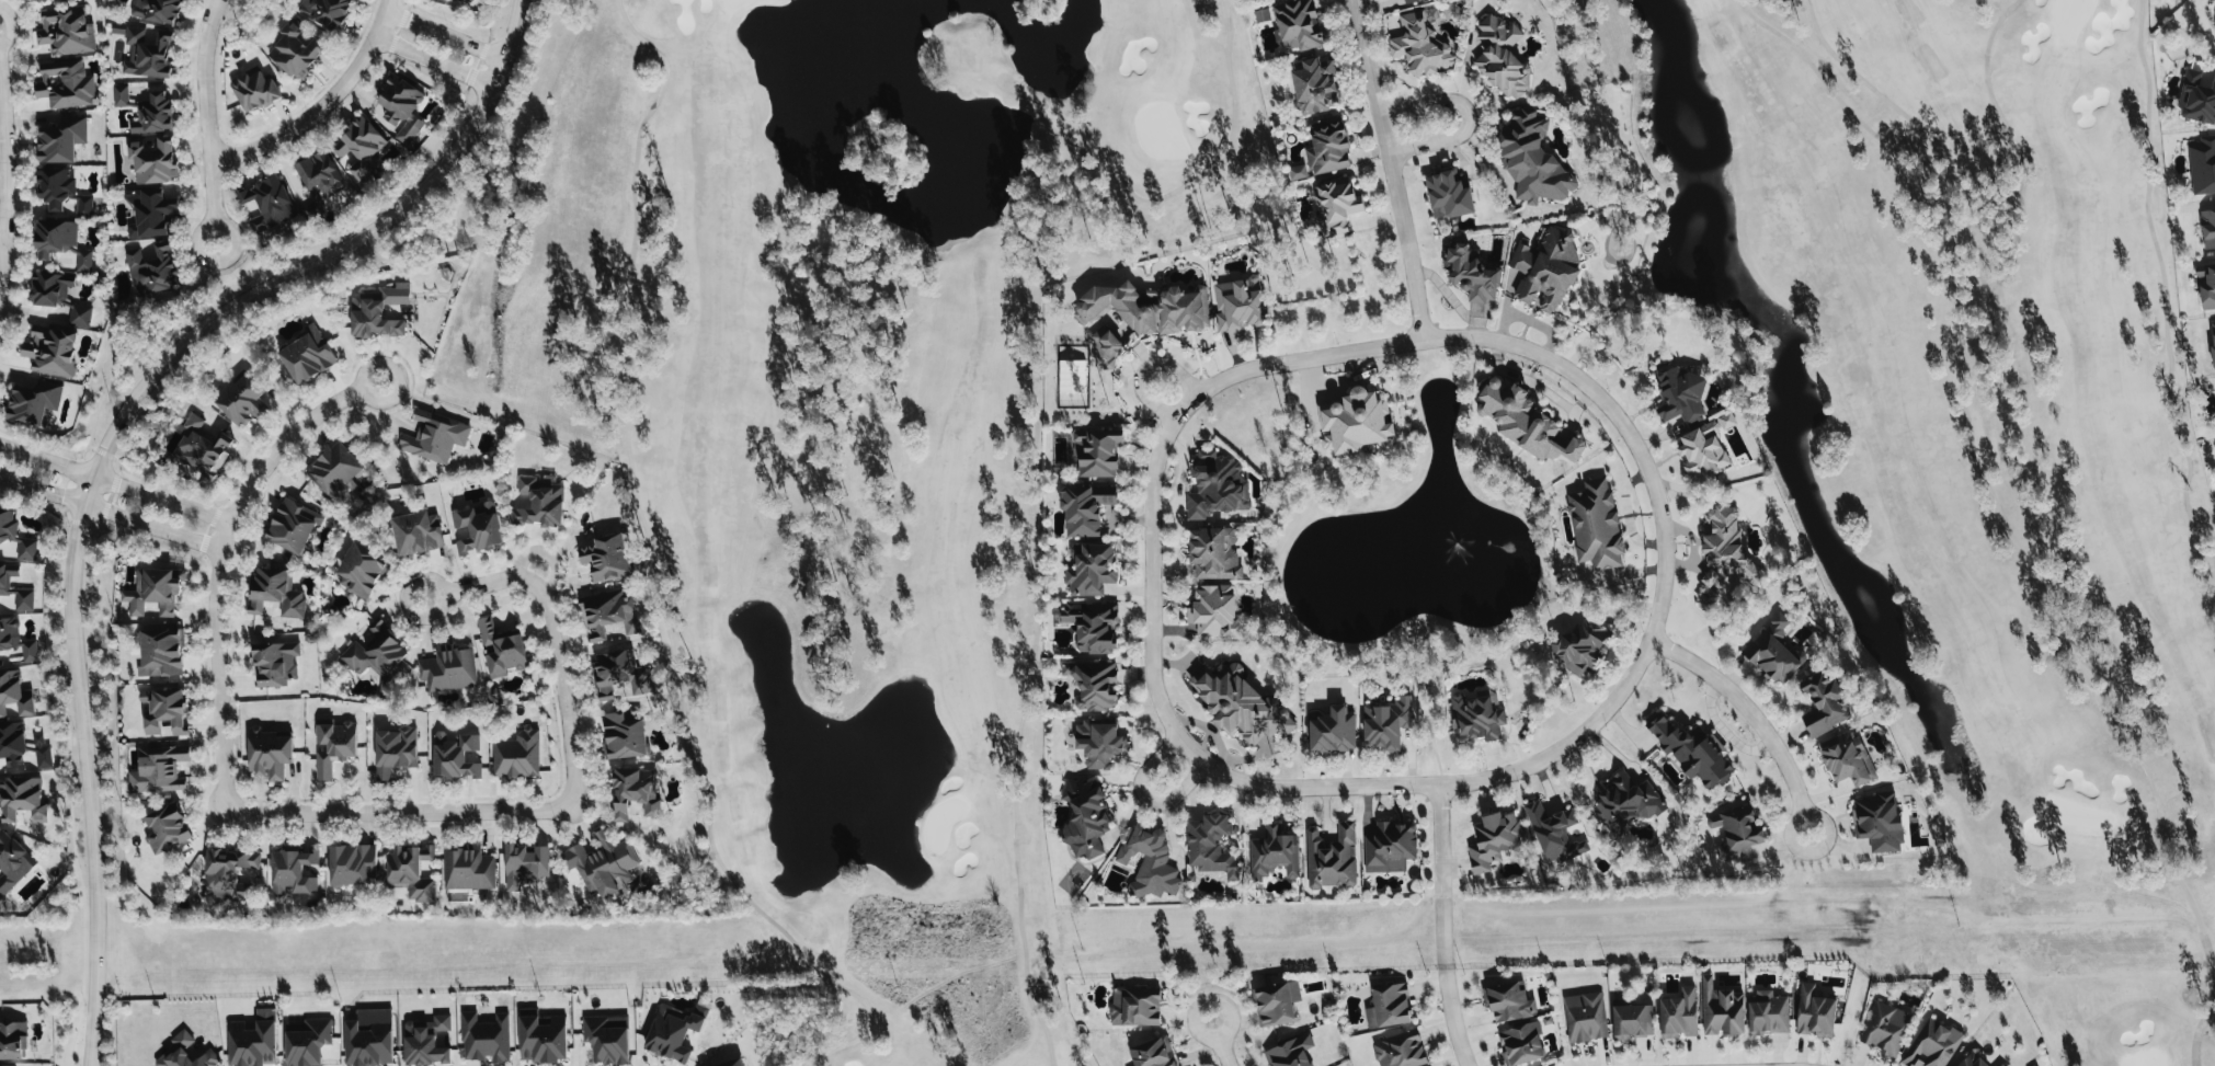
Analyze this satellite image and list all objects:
building: (470, 0)
building: (43, 1)
building: (1411, 1)
building: (158, 11)
building: (327, 12)
building: (1261, 15)
road: (383, 19)
building: (1298, 24)
building: (117, 27)
building: (67, 32)
road: (445, 34)
building: (1420, 46)
building: (296, 50)
building: (148, 54)
building: (1502, 57)
road: (434, 62)
building: (65, 84)
building: (1314, 87)
building: (254, 91)
building: (119, 95)
building: (2196, 99)
building: (401, 108)
building: (153, 115)
road: (1465, 116)
road: (308, 118)
road: (207, 123)
building: (61, 140)
building: (359, 147)
building: (1327, 148)
building: (1532, 159)
building: (153, 160)
building: (2202, 165)
road: (1390, 169)
building: (1298, 172)
building: (318, 173)
road: (5, 175)
building: (61, 191)
building: (1448, 195)
building: (267, 204)
building: (1335, 207)
building: (150, 213)
building: (2207, 228)
road: (1, 242)
building: (60, 242)
building: (152, 270)
building: (1546, 270)
building: (1471, 273)
building: (2206, 285)
building: (50, 288)
building: (1240, 303)
building: (379, 312)
building: (79, 314)
road: (1515, 343)
building: (1105, 348)
building: (52, 352)
building: (308, 356)
road: (1143, 368)
building: (1680, 397)
building: (242, 401)
building: (34, 402)
building: (1355, 421)
building: (1726, 421)
building: (1525, 422)
park: (850, 436)
park: (850, 436)
building: (434, 437)
park: (1971, 438)
park: (1971, 438)
road: (107, 444)
building: (202, 448)
building: (1701, 451)
building: (1097, 454)
building: (334, 473)
road: (116, 482)
building: (1217, 485)
building: (540, 502)
building: (1085, 509)
road: (112, 513)
building: (1596, 525)
building: (293, 526)
building: (476, 528)
building: (418, 532)
building: (15, 536)
fountain: (1452, 543)
building: (1214, 553)
building: (606, 558)
building: (1724, 559)
road: (225, 560)
building: (361, 570)
building: (4, 583)
road: (468, 588)
road: (1152, 589)
building: (155, 591)
building: (276, 593)
building: (1214, 612)
building: (609, 617)
building: (1093, 626)
building: (16, 640)
building: (1580, 646)
building: (501, 650)
building: (376, 652)
building: (161, 653)
building: (1777, 654)
building: (275, 663)
building: (448, 669)
building: (620, 676)
road: (562, 683)
building: (14, 696)
building: (1824, 703)
building: (1240, 704)
building: (164, 710)
building: (1476, 715)
road: (1754, 715)
building: (1386, 722)
building: (1333, 731)
building: (624, 735)
building: (1099, 743)
building: (334, 746)
building: (23, 747)
building: (395, 750)
building: (1691, 752)
building: (269, 754)
building: (517, 755)
building: (455, 756)
building: (1847, 759)
road: (1148, 765)
building: (159, 769)
road: (1446, 783)
building: (635, 793)
road: (1178, 793)
building: (22, 800)
building: (1626, 802)
road: (402, 807)
building: (1085, 818)
building: (1877, 822)
building: (165, 828)
building: (1554, 833)
building: (1737, 833)
building: (1493, 840)
building: (1211, 845)
building: (1390, 847)
building: (1274, 853)
building: (1332, 858)
building: (1150, 862)
building: (12, 863)
building: (352, 864)
building: (525, 864)
building: (603, 864)
building: (468, 869)
building: (293, 871)
building: (228, 872)
building: (411, 872)
road: (1442, 876)
building: (1508, 1001)
building: (1276, 1002)
building: (1134, 1006)
building: (1389, 1007)
building: (1722, 1011)
building: (1815, 1012)
building: (1678, 1013)
building: (1768, 1013)
building: (1585, 1017)
road: (1453, 1018)
building: (1632, 1021)
building: (1885, 1028)
building: (675, 1030)
building: (541, 1036)
building: (484, 1038)
building: (607, 1039)
building: (13, 1040)
building: (253, 1041)
building: (307, 1042)
building: (368, 1043)
building: (427, 1043)
road: (1222, 1043)
building: (1521, 1044)
building: (1932, 1045)
building: (1400, 1050)
building: (1290, 1052)
building: (185, 1053)
building: (1153, 1053)
building: (1972, 1061)
building: (731, 1063)
building: (14, 1065)
building: (2000, 1065)

